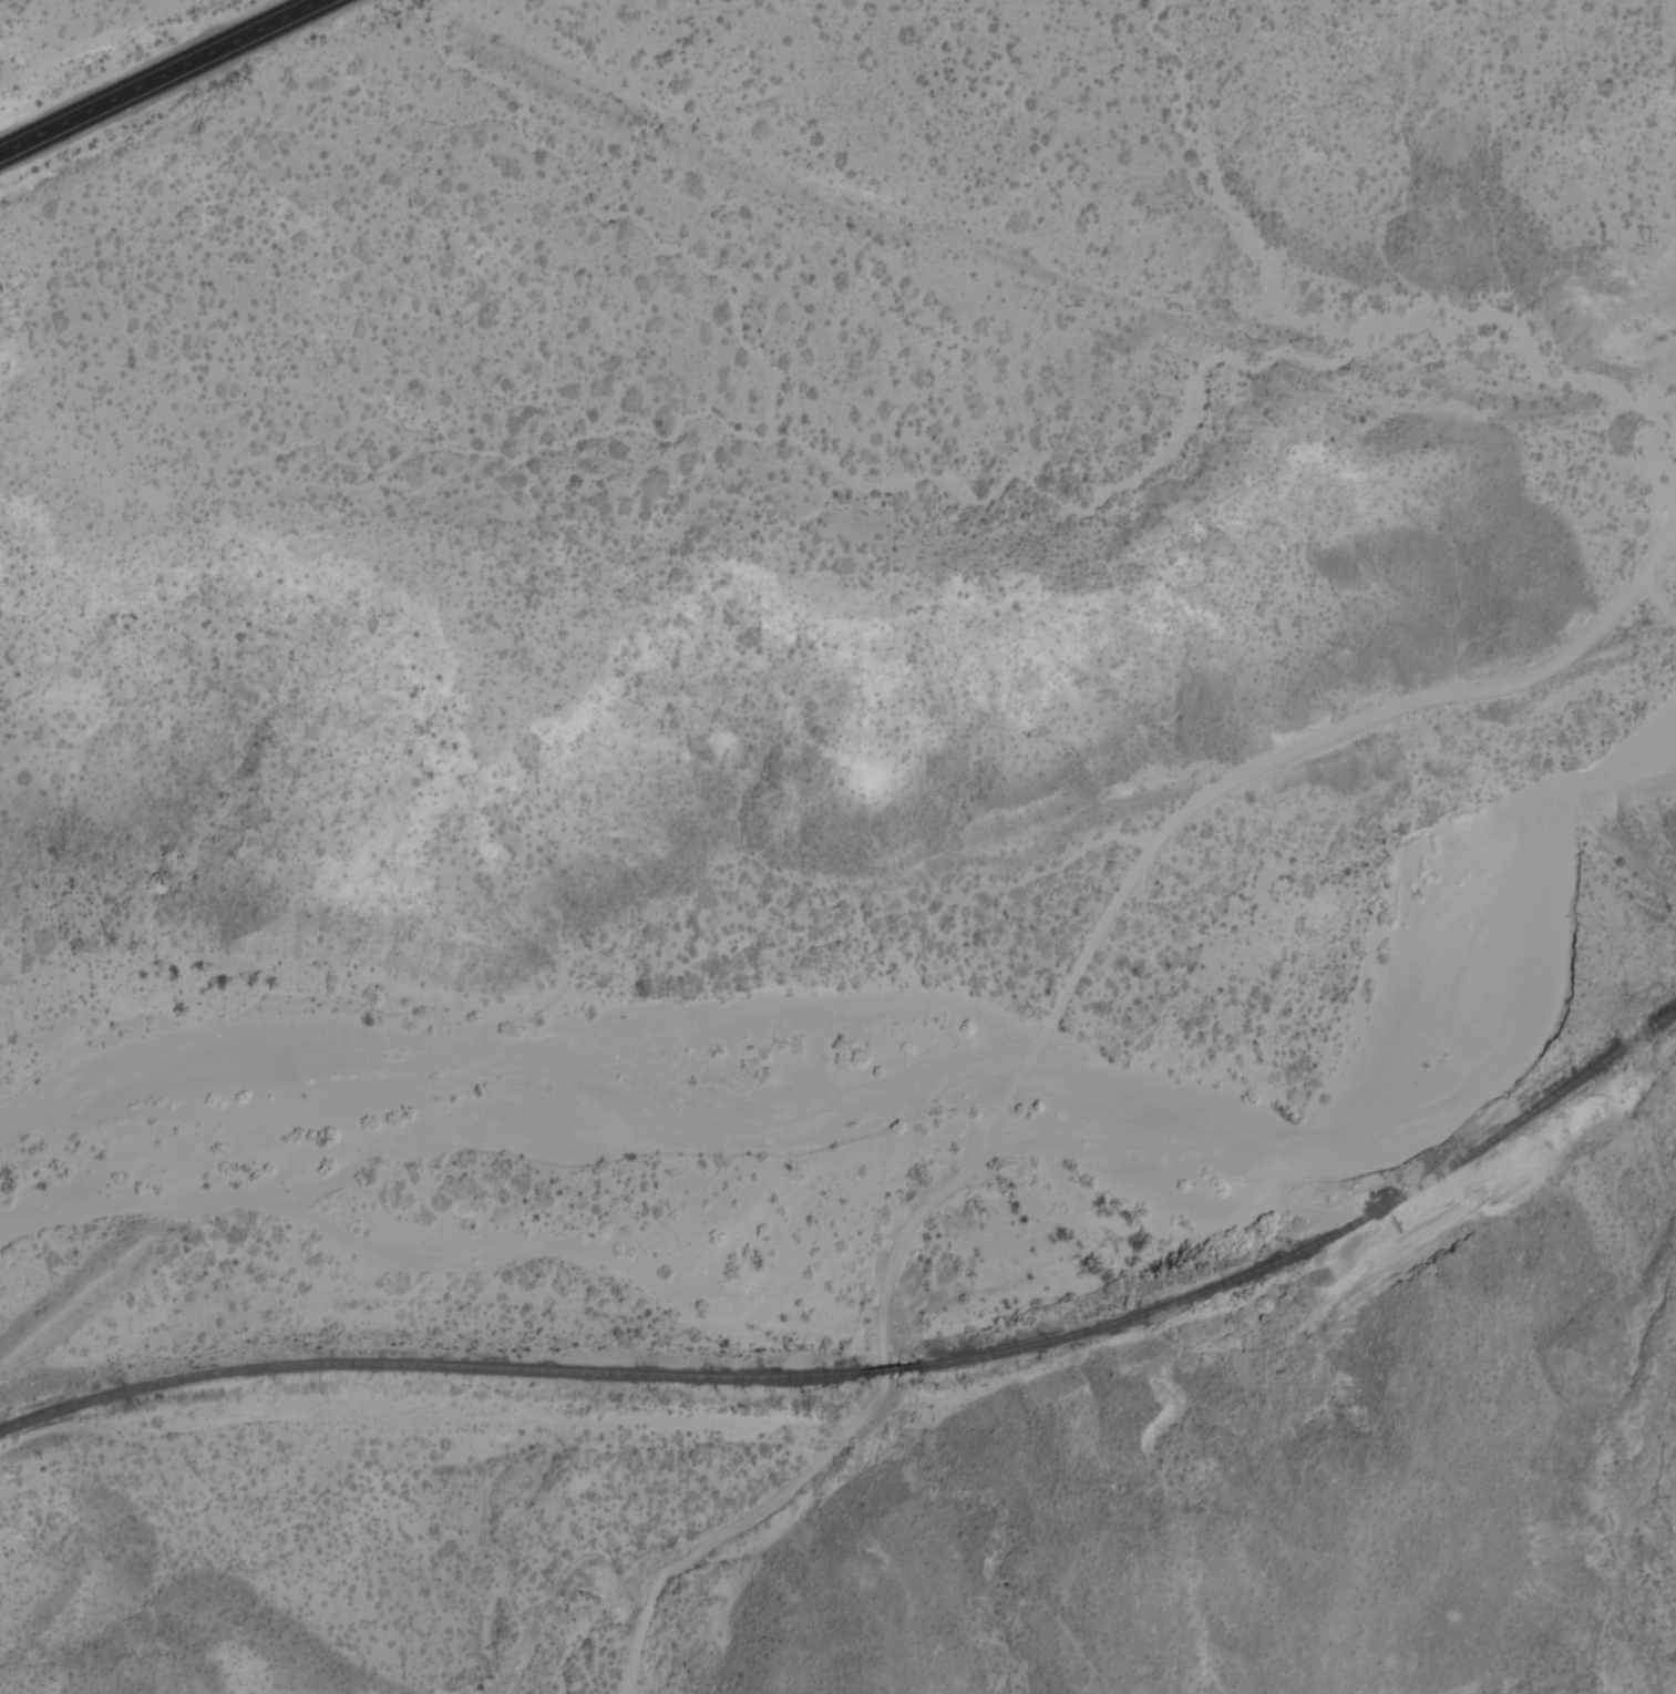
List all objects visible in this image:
road: (154, 74)
road: (1325, 737)
river: (957, 1061)
road: (1010, 1089)
railway: (1318, 1240)
railway: (420, 1364)
railway: (882, 1370)
road: (833, 1444)

